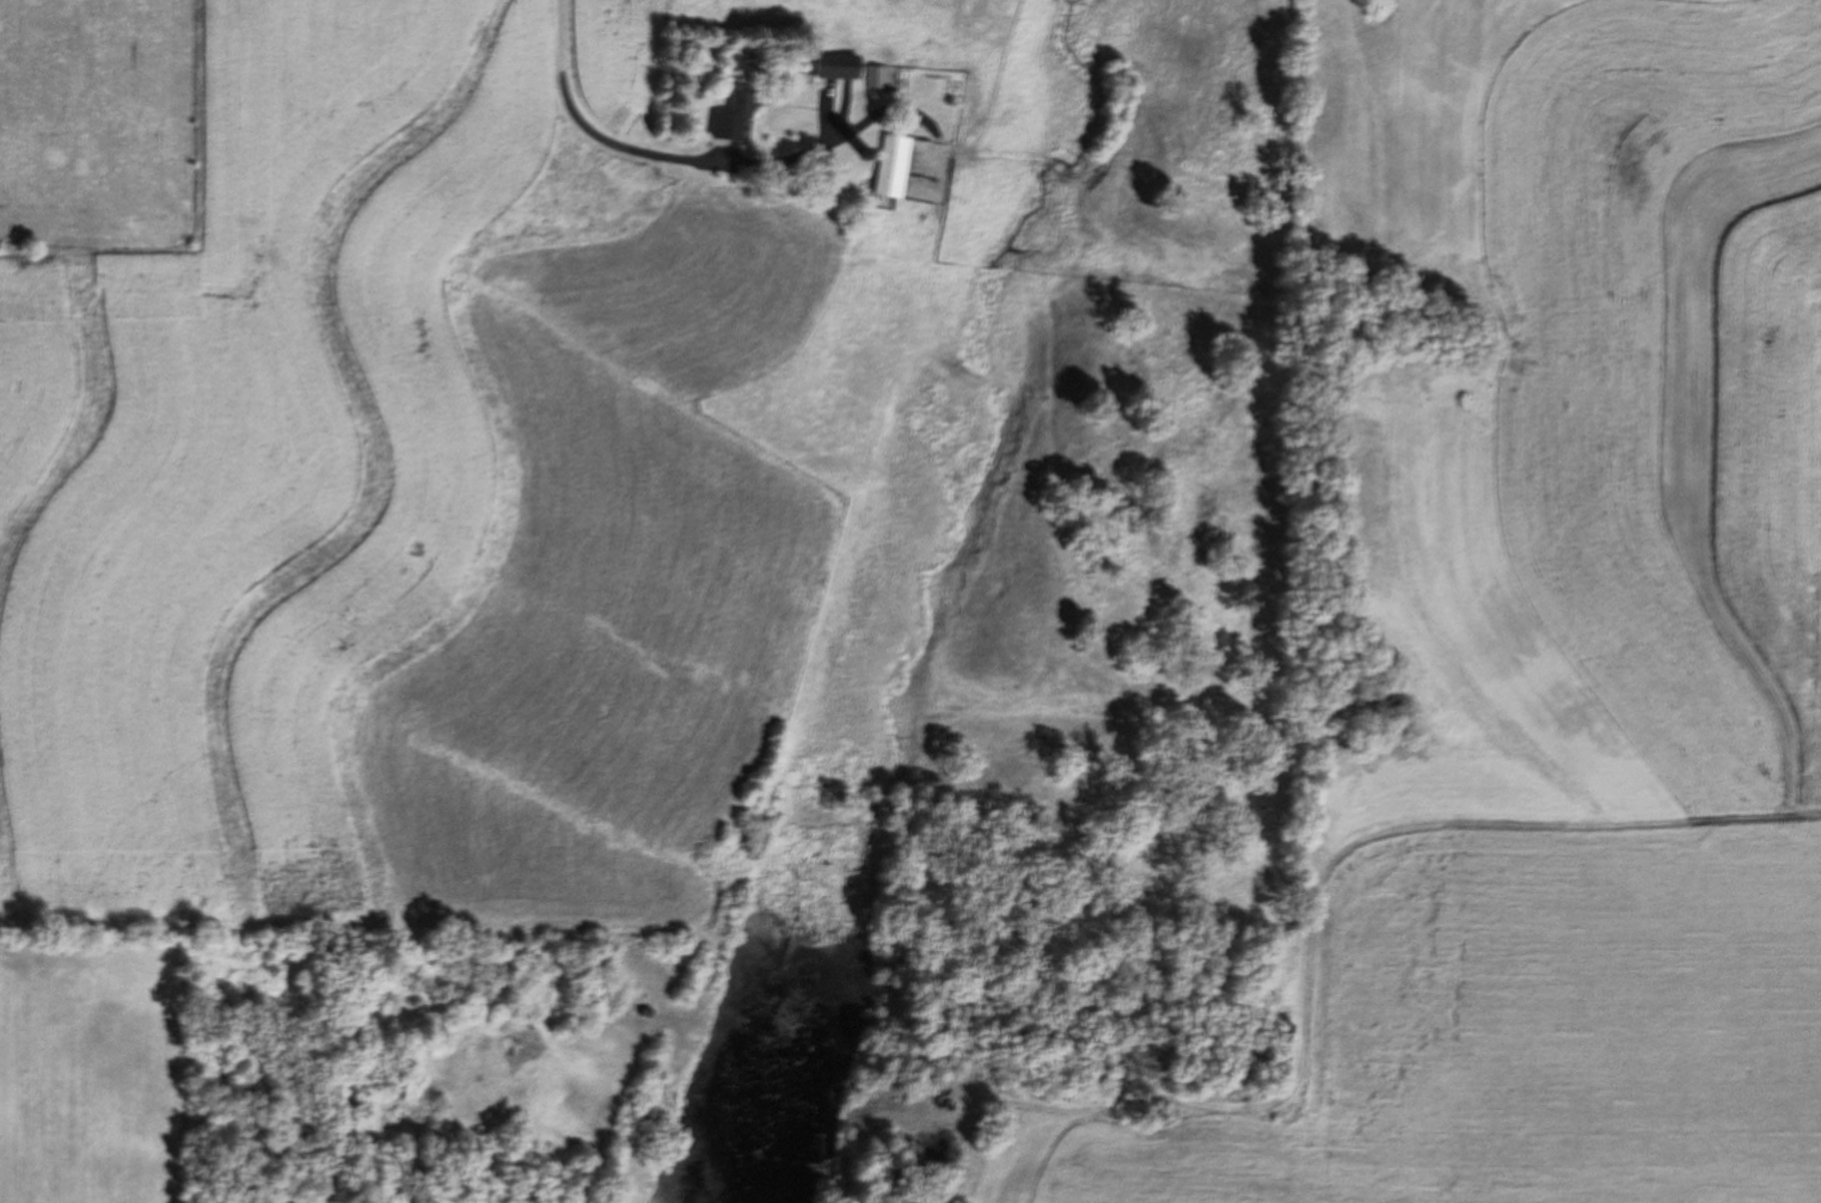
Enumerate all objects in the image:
building: (839, 66)
building: (877, 78)
building: (736, 117)
road: (706, 160)
building: (894, 166)

